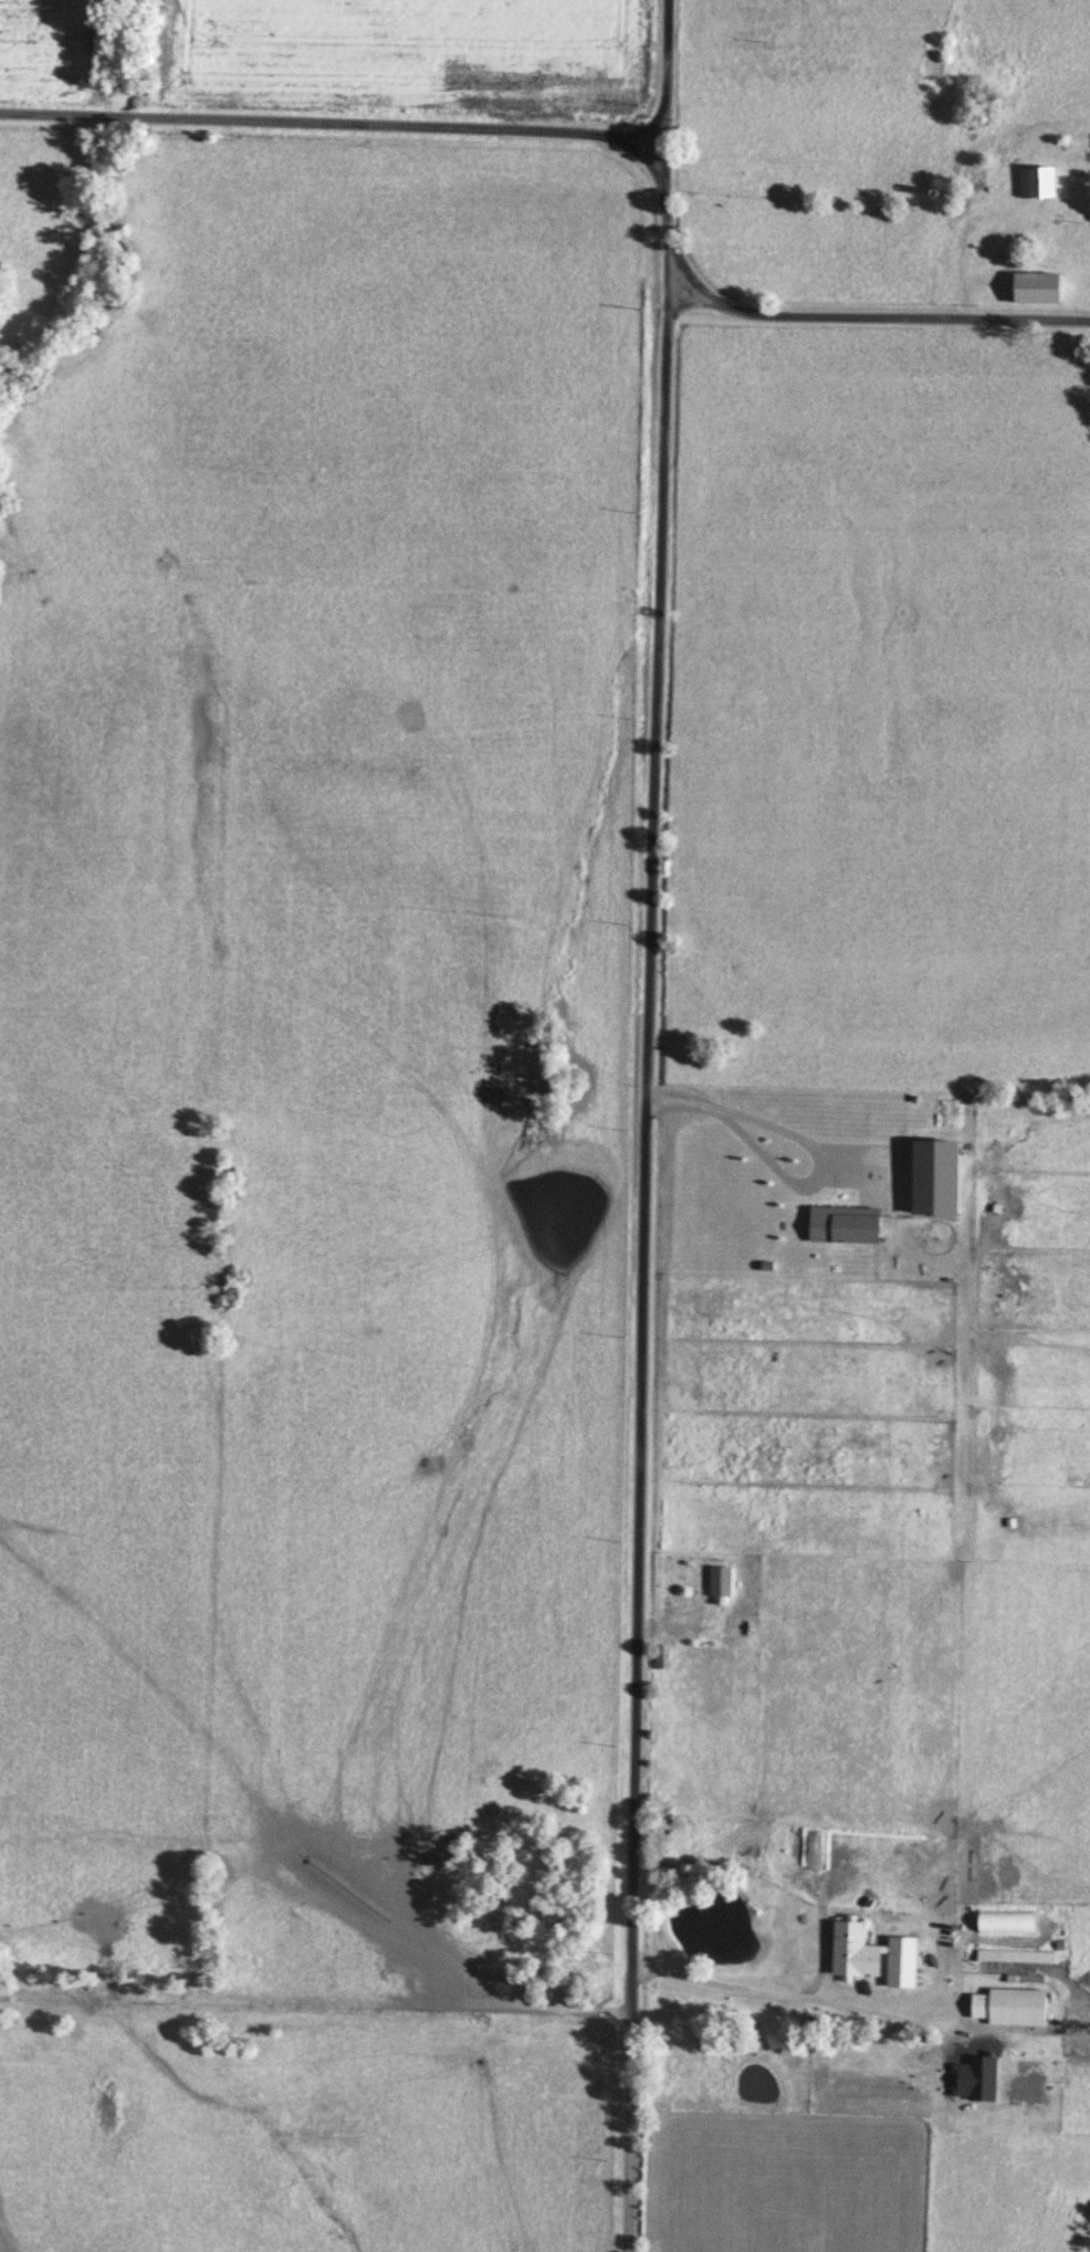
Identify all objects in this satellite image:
road: (334, 123)
building: (1039, 180)
building: (1039, 285)
road: (878, 317)
road: (648, 1125)
road: (849, 2002)
building: (1019, 2005)

